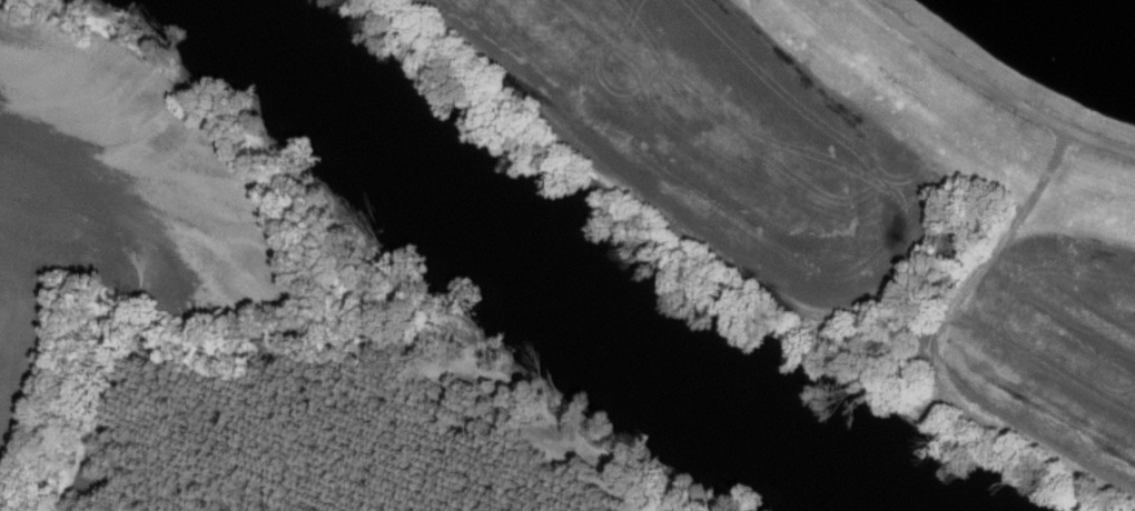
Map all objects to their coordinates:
road: (993, 89)
river: (574, 271)
road: (762, 290)

